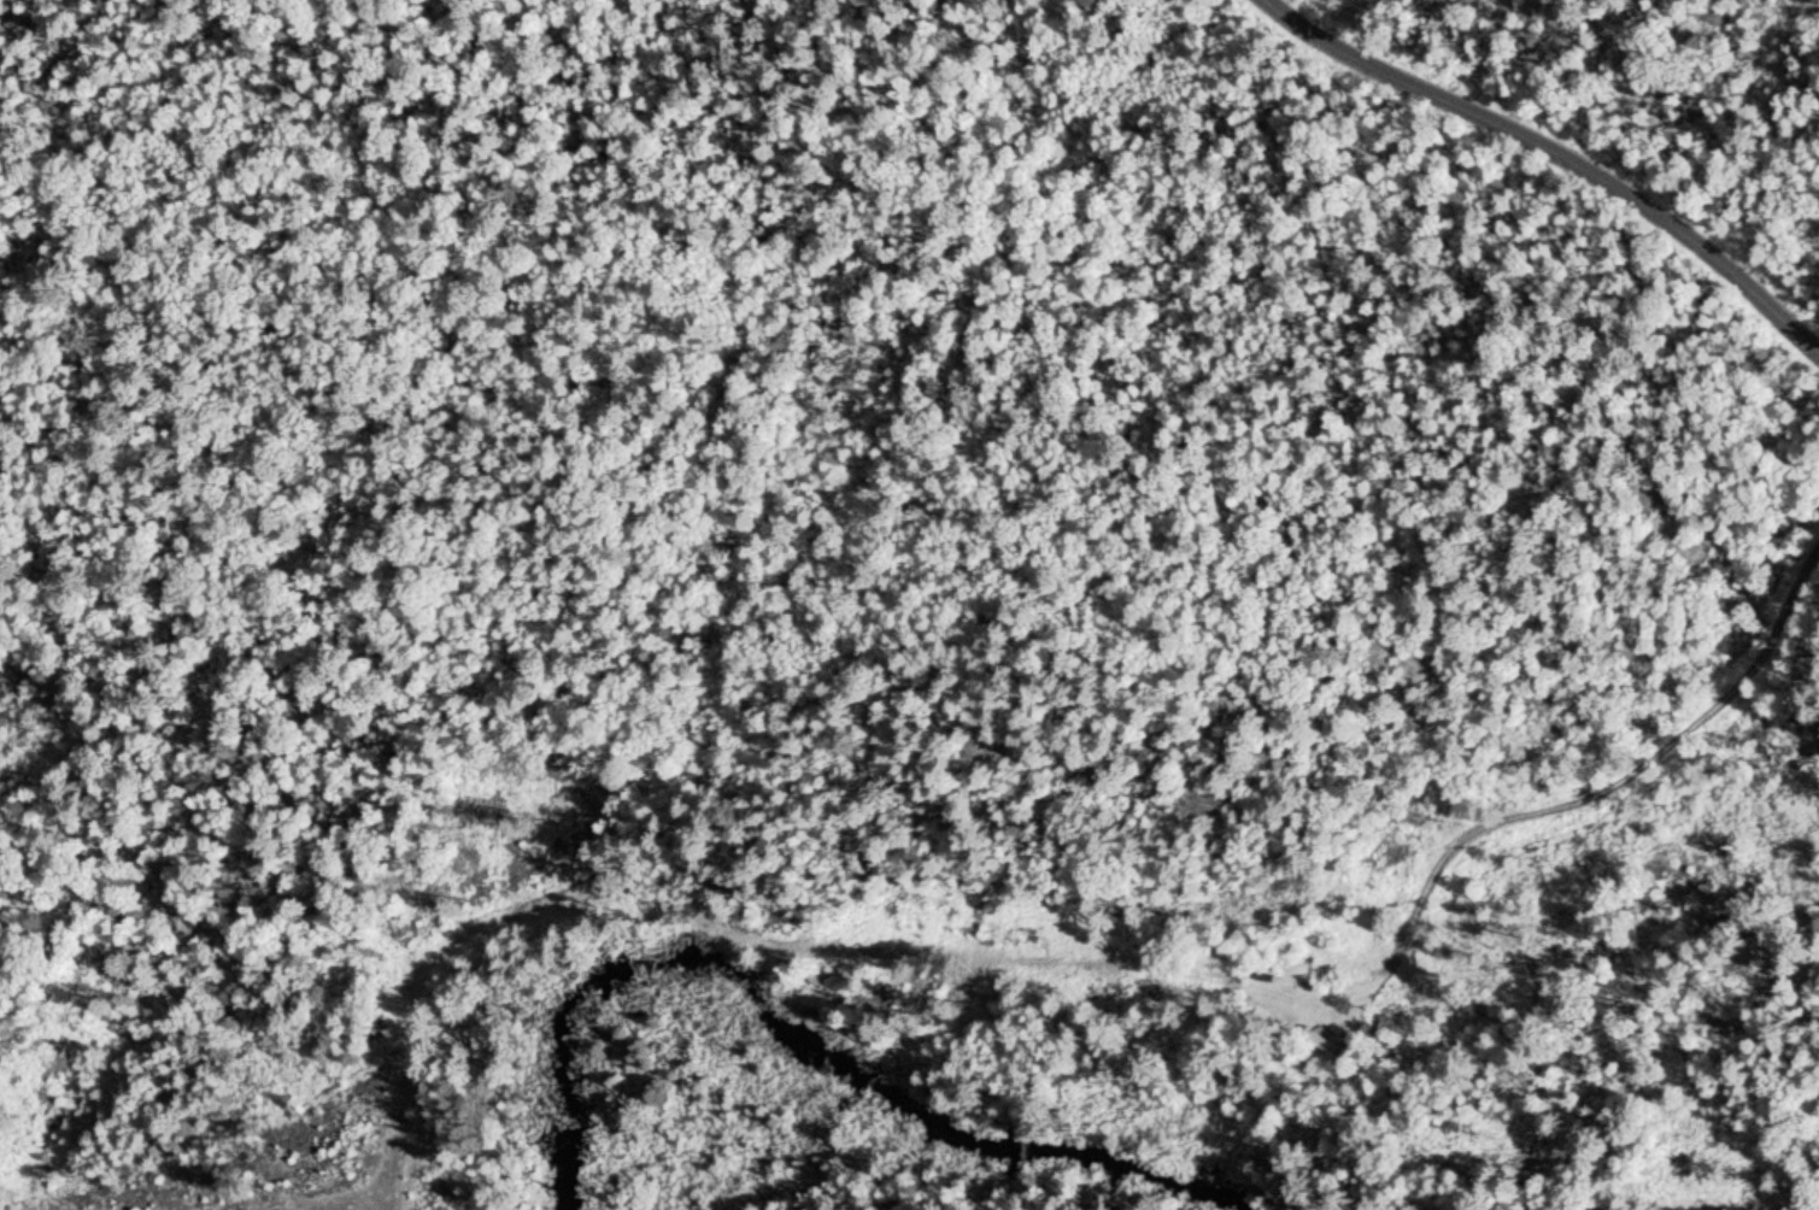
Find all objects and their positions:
road: (1559, 158)
road: (1667, 760)
building: (1320, 1041)

